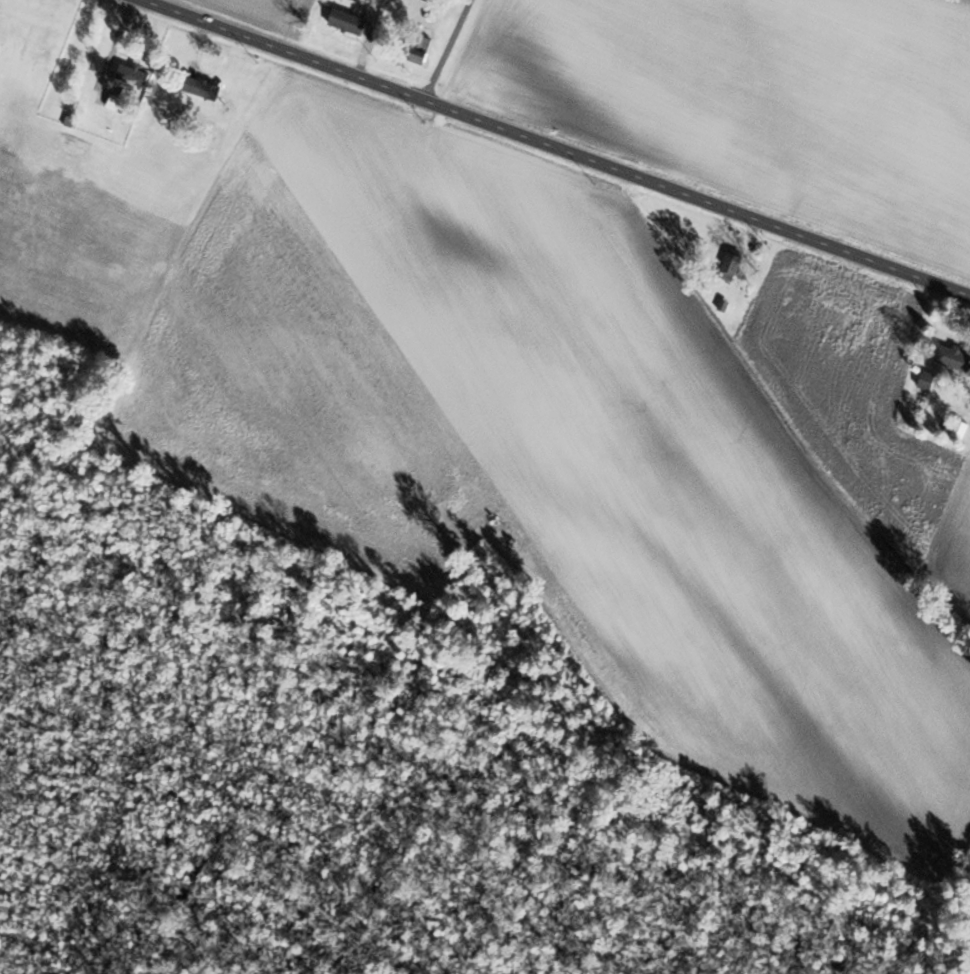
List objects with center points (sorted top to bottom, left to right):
building: (353, 20)
building: (425, 46)
road: (446, 49)
building: (136, 76)
building: (207, 87)
road: (561, 146)
building: (736, 261)
building: (956, 356)

